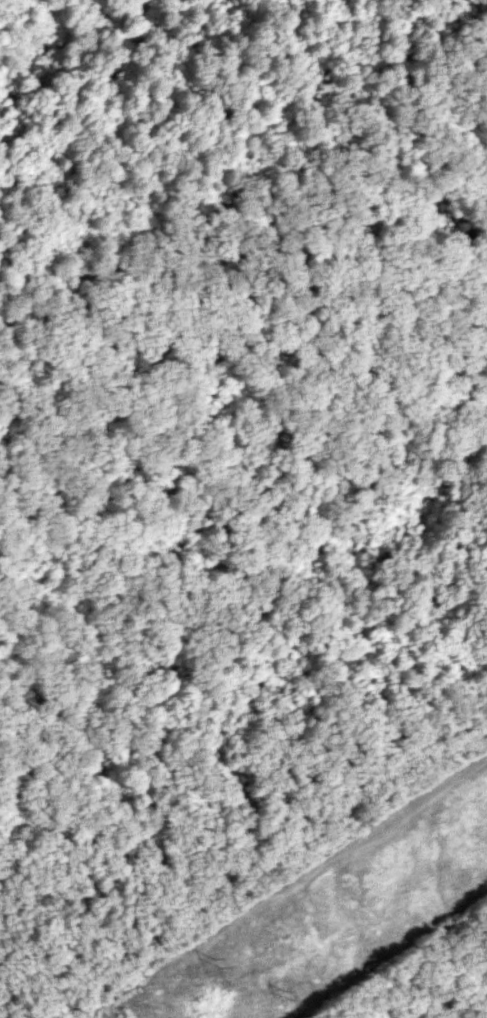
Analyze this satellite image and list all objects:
road: (241, 764)
power tower: (212, 963)
power tower: (283, 994)

